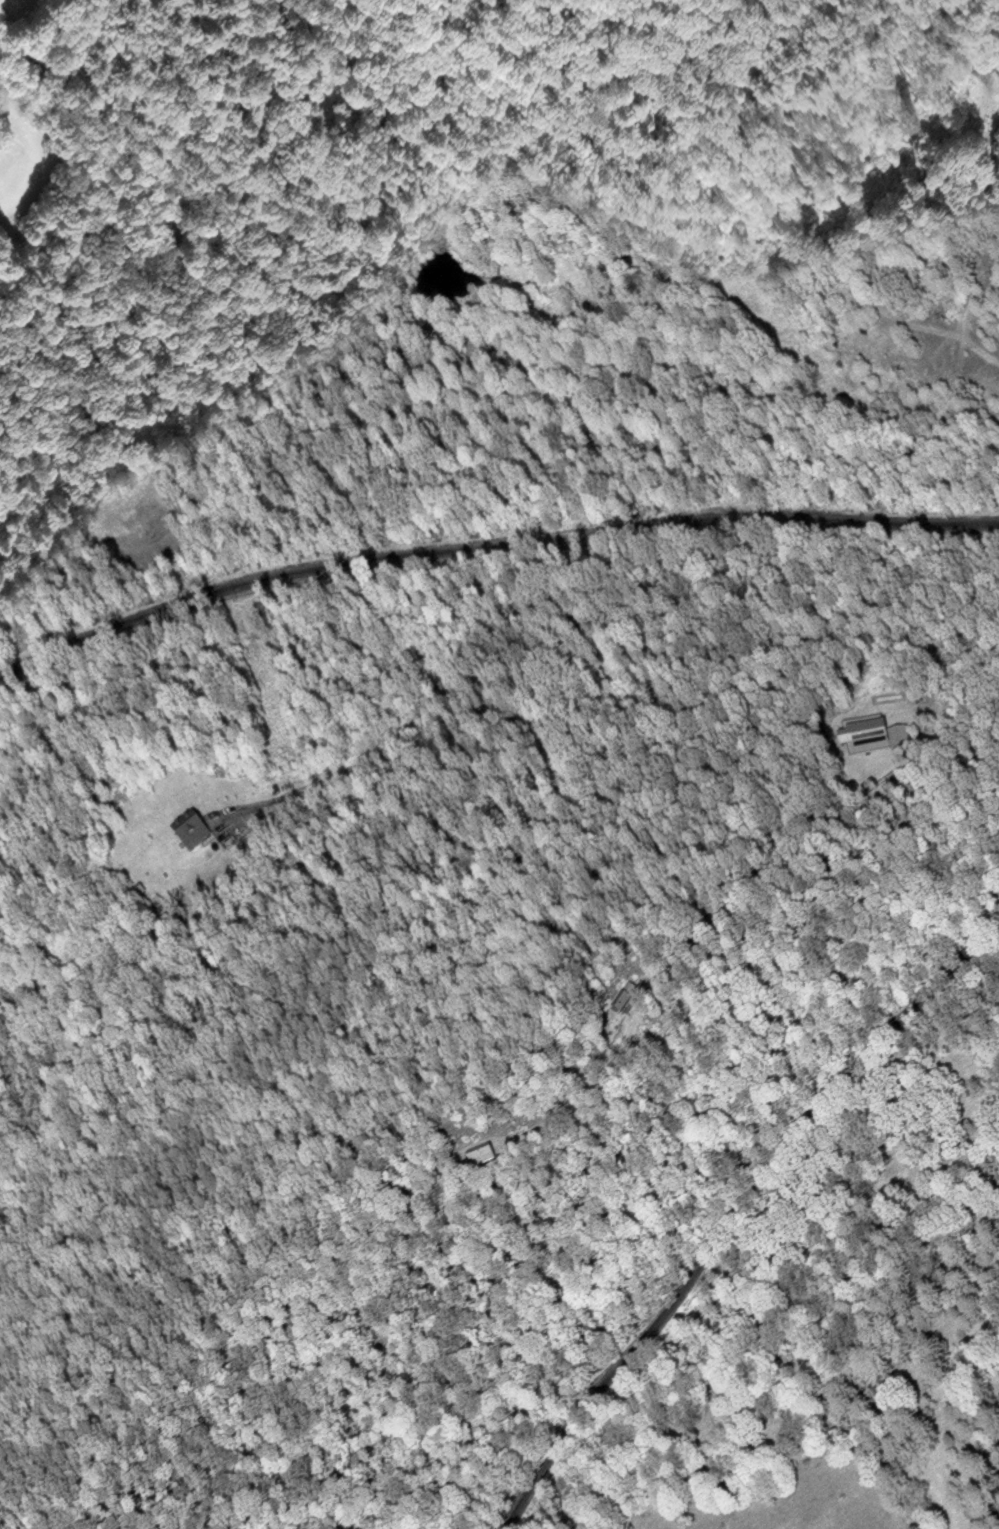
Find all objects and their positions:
road: (489, 551)
road: (429, 694)
building: (196, 832)
building: (625, 1000)
road: (733, 1198)

